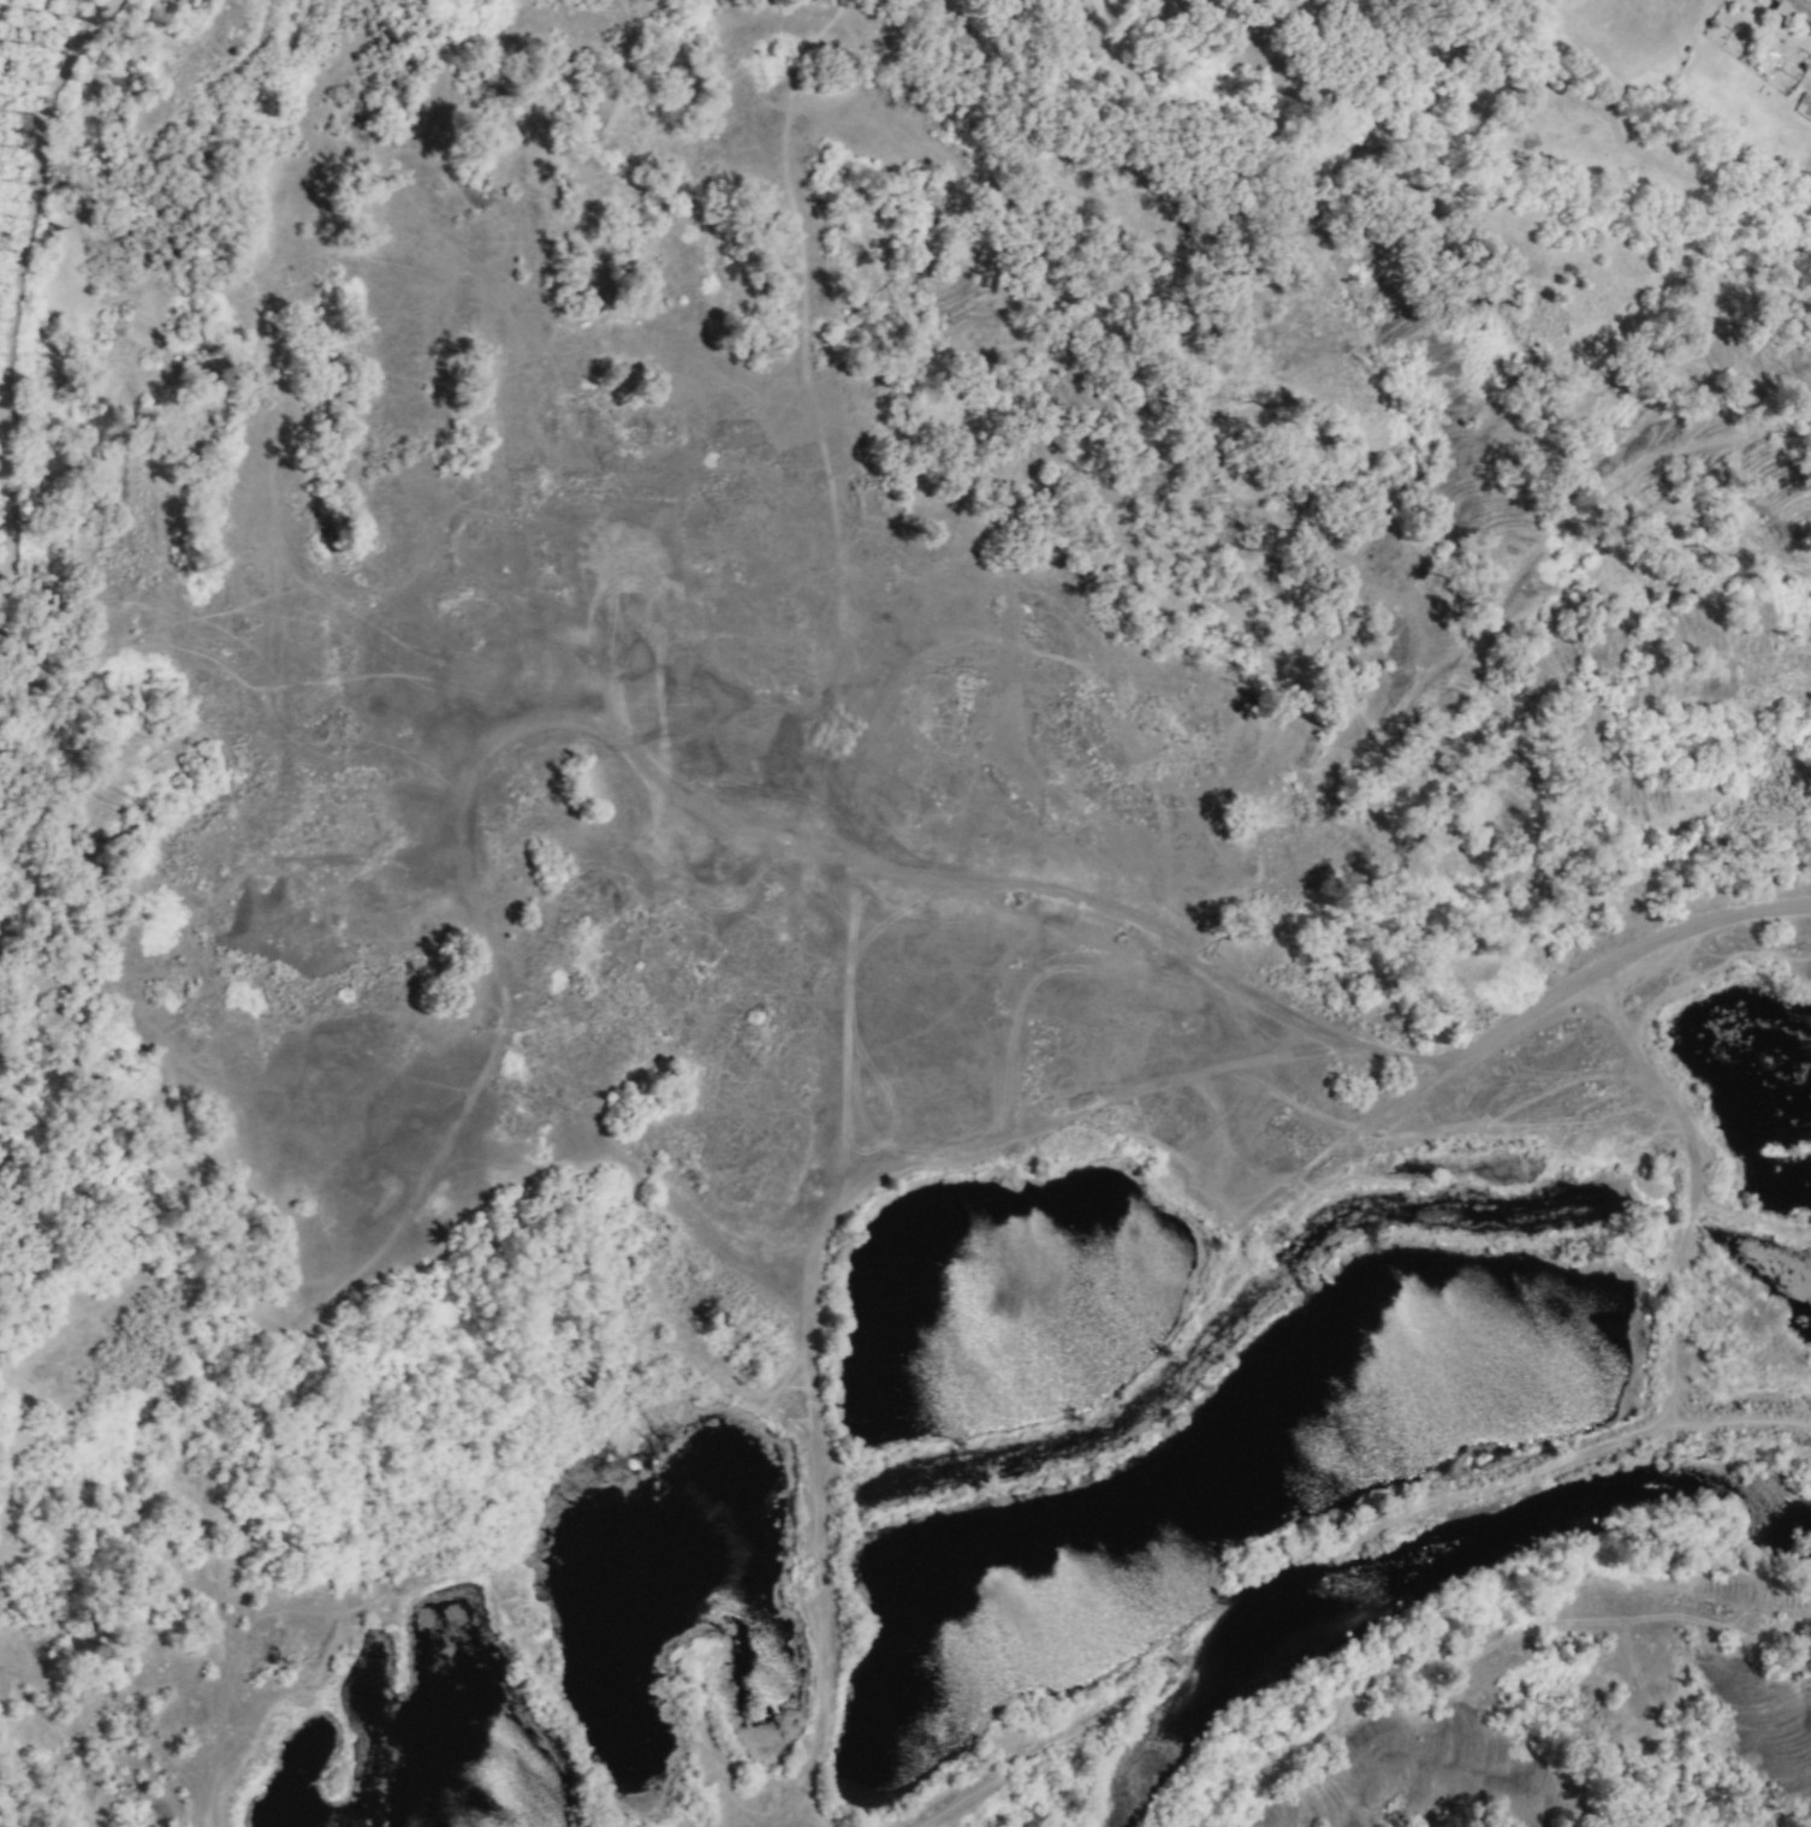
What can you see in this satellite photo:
building: (1794, 7)
building: (1804, 108)
river: (1450, 1577)

